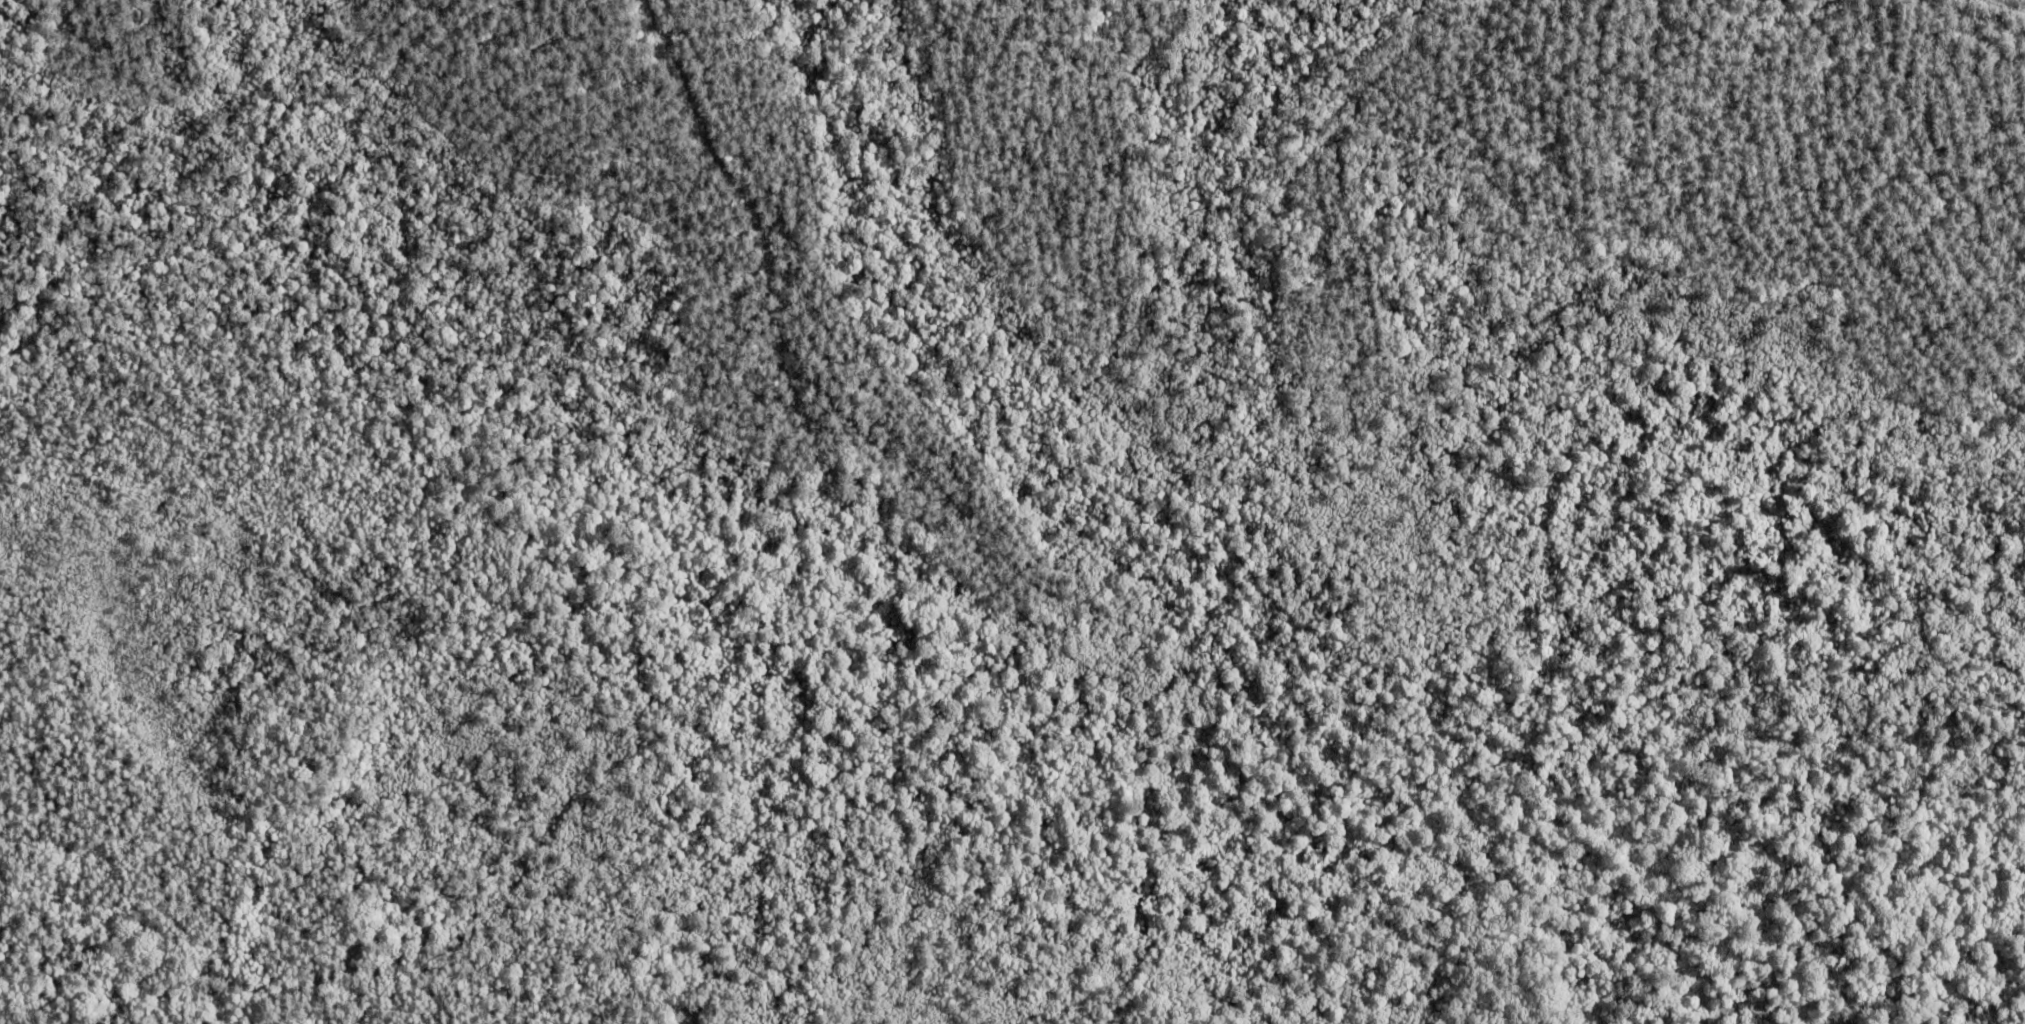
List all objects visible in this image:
road: (1992, 39)
road: (733, 190)

